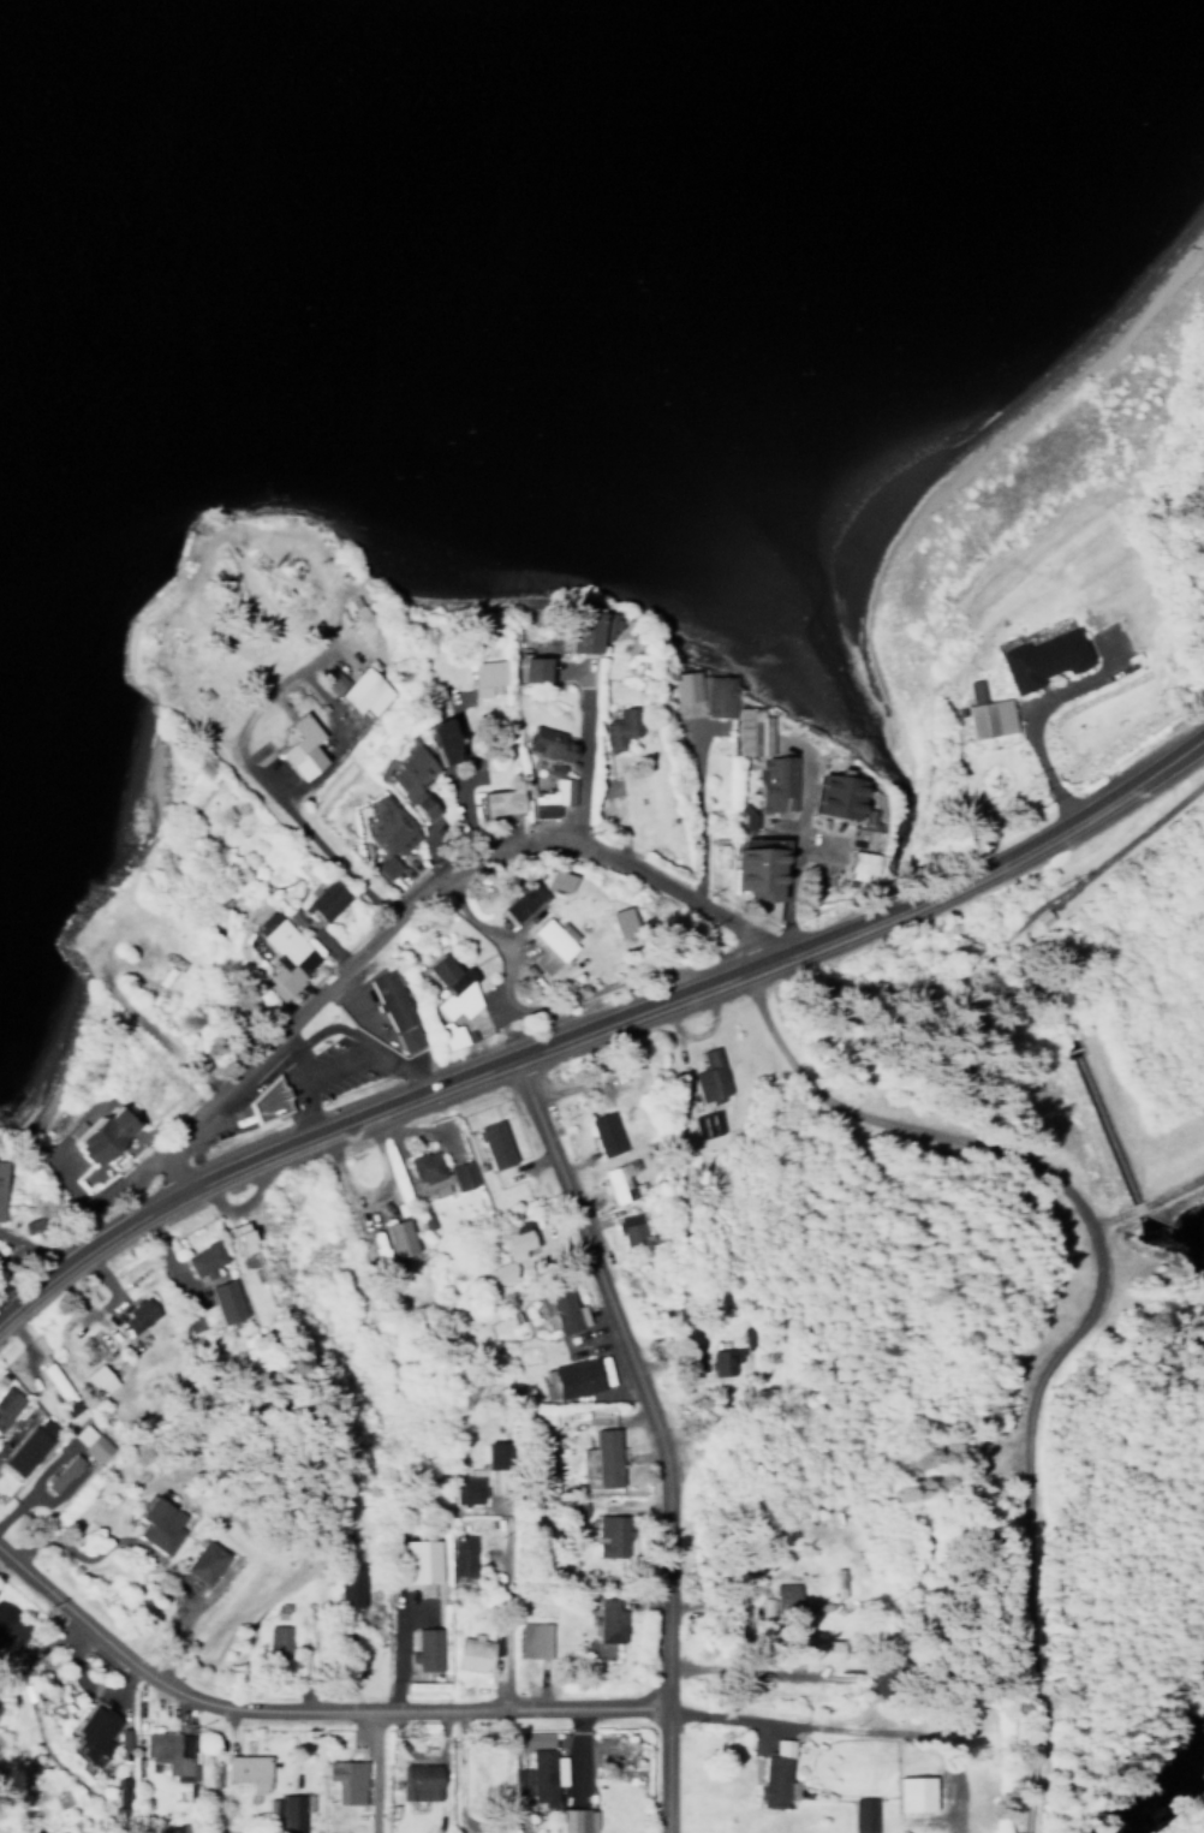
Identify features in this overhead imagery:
building: (602, 624)
building: (571, 631)
building: (1033, 659)
building: (524, 668)
building: (483, 676)
building: (702, 691)
building: (362, 692)
building: (982, 713)
building: (616, 727)
building: (747, 731)
building: (427, 740)
building: (543, 744)
building: (291, 746)
road: (588, 751)
building: (400, 780)
building: (771, 782)
building: (828, 797)
building: (544, 798)
building: (489, 802)
road: (702, 805)
road: (1073, 816)
building: (865, 819)
building: (382, 835)
road: (322, 840)
road: (795, 855)
building: (859, 864)
building: (751, 873)
road: (419, 891)
building: (330, 898)
building: (512, 901)
road: (904, 906)
building: (1038, 917)
building: (541, 945)
building: (285, 948)
building: (460, 986)
road: (536, 1001)
building: (398, 1010)
road: (346, 1058)
building: (707, 1076)
road: (264, 1081)
road: (419, 1089)
building: (269, 1100)
building: (707, 1126)
building: (606, 1132)
building: (108, 1133)
building: (494, 1143)
building: (439, 1172)
building: (622, 1180)
building: (1, 1186)
building: (631, 1226)
building: (400, 1237)
building: (244, 1240)
building: (511, 1252)
building: (204, 1258)
building: (227, 1301)
building: (561, 1309)
road: (1090, 1309)
building: (136, 1314)
building: (725, 1362)
building: (572, 1377)
building: (52, 1379)
building: (100, 1379)
building: (7, 1404)
road: (660, 1429)
building: (89, 1441)
building: (28, 1446)
building: (603, 1459)
building: (469, 1488)
building: (162, 1523)
building: (612, 1535)
road: (145, 1543)
building: (463, 1557)
building: (207, 1560)
building: (423, 1560)
building: (350, 1584)
building: (788, 1596)
road: (496, 1605)
building: (610, 1620)
building: (11, 1625)
building: (279, 1639)
building: (534, 1639)
building: (829, 1644)
building: (473, 1653)
road: (308, 1704)
road: (769, 1713)
building: (94, 1727)
road: (938, 1738)
building: (537, 1739)
building: (169, 1746)
building: (246, 1764)
road: (461, 1772)
building: (536, 1772)
building: (346, 1775)
building: (419, 1775)
building: (774, 1775)
building: (912, 1789)
building: (286, 1808)
building: (862, 1810)
building: (573, 1816)

